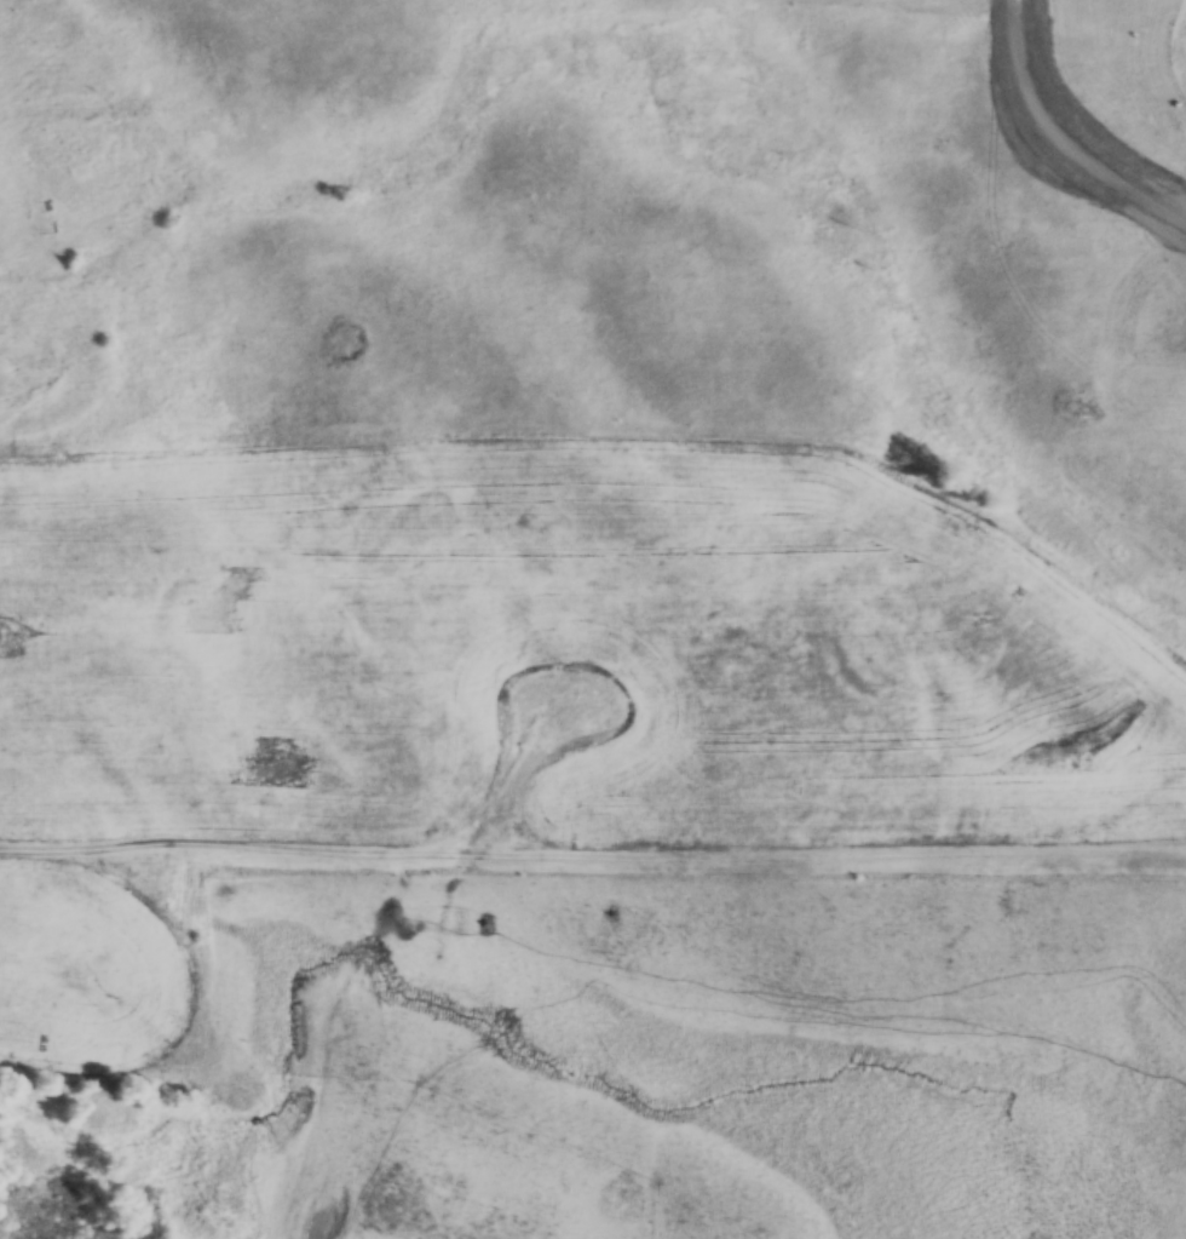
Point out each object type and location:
river: (44, 346)

